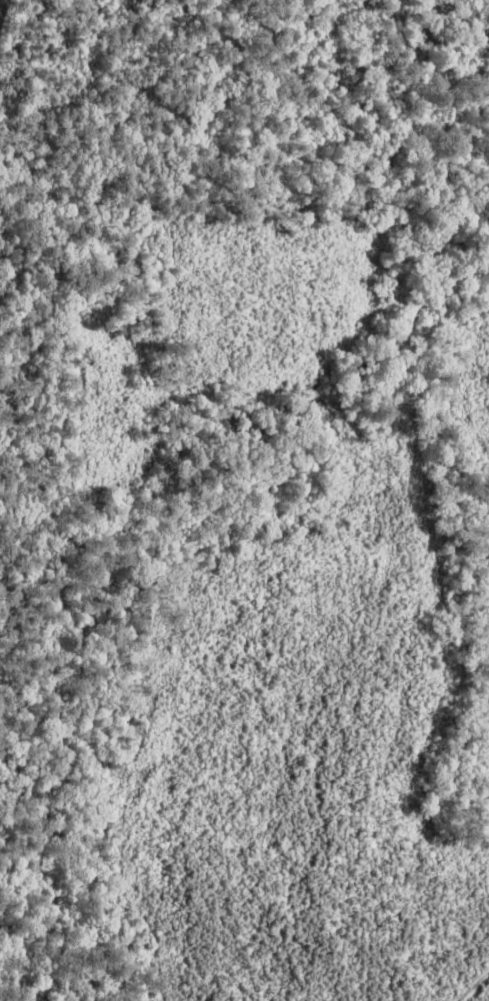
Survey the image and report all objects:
road: (469, 979)

